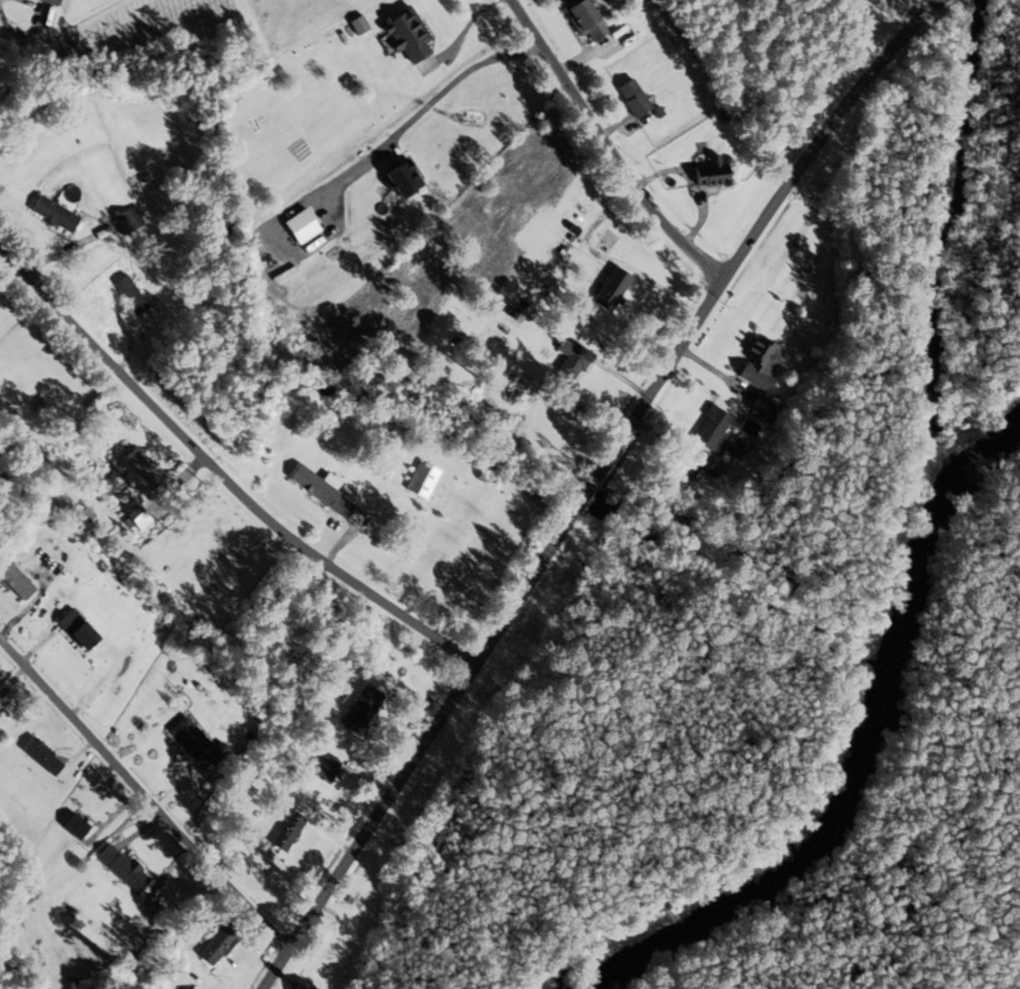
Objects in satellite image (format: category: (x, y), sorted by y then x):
building: (54, 1)
building: (587, 19)
building: (360, 26)
road: (465, 28)
building: (409, 34)
road: (19, 35)
road: (452, 80)
building: (635, 99)
road: (608, 150)
building: (714, 173)
building: (407, 178)
road: (690, 183)
building: (57, 213)
building: (129, 220)
road: (597, 221)
building: (608, 241)
road: (68, 249)
building: (602, 284)
building: (132, 294)
building: (574, 357)
building: (761, 362)
road: (705, 365)
road: (624, 381)
building: (53, 407)
building: (764, 407)
building: (749, 426)
building: (715, 429)
road: (668, 440)
building: (143, 473)
road: (224, 474)
road: (178, 479)
building: (423, 479)
road: (597, 487)
building: (324, 491)
building: (141, 517)
building: (17, 580)
building: (87, 636)
building: (363, 709)
building: (198, 744)
building: (44, 756)
building: (326, 766)
road: (144, 792)
building: (289, 830)
building: (124, 867)
building: (221, 943)
building: (307, 985)

